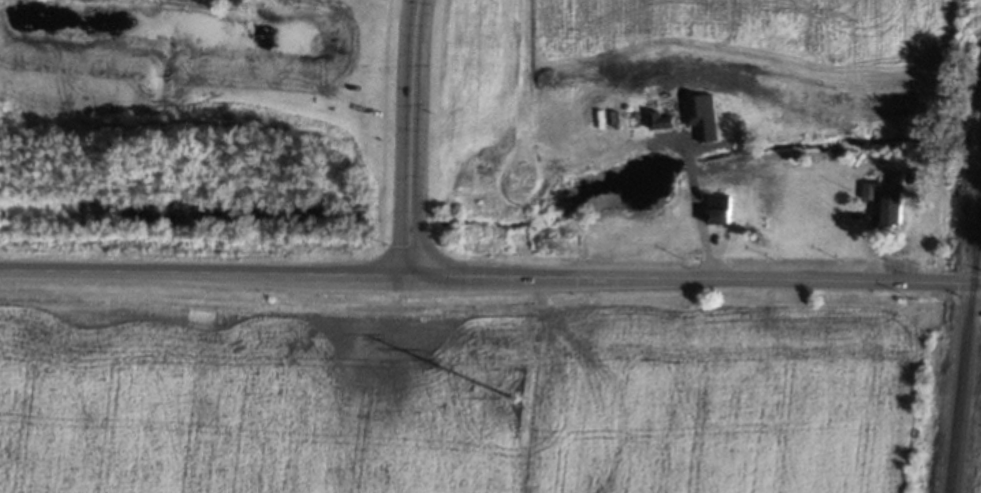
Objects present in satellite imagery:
crop: (758, 67)
building: (700, 116)
building: (659, 120)
park: (187, 128)
park: (472, 131)
road: (403, 137)
building: (894, 177)
building: (869, 191)
building: (716, 208)
building: (892, 208)
road: (261, 274)
road: (752, 282)
railway: (964, 350)
power tower: (513, 409)
crop: (979, 480)

